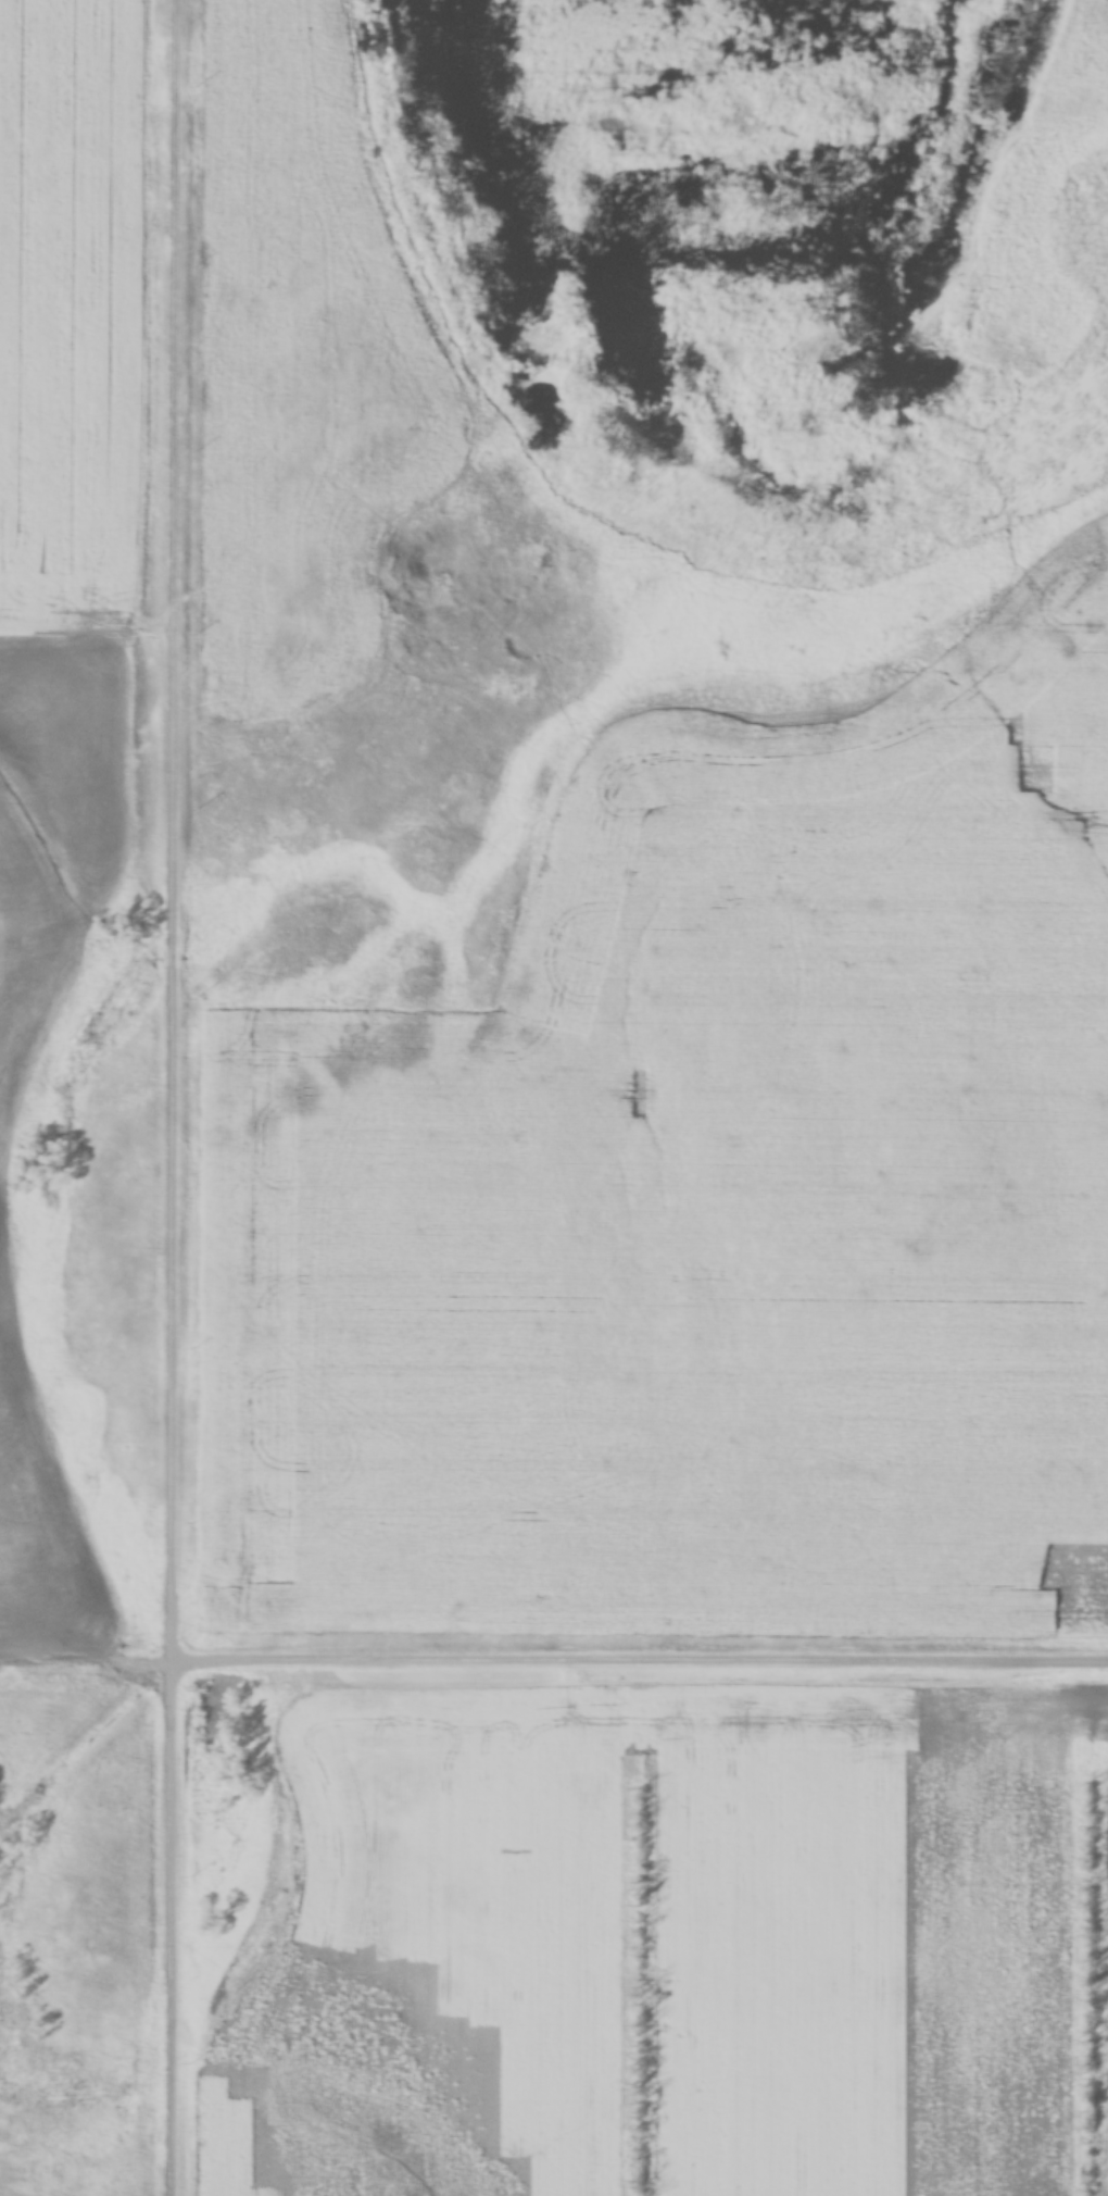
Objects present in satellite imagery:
crop: (302, 371)
crop: (55, 835)
road: (178, 1098)
crop: (40, 1546)
road: (643, 1661)

